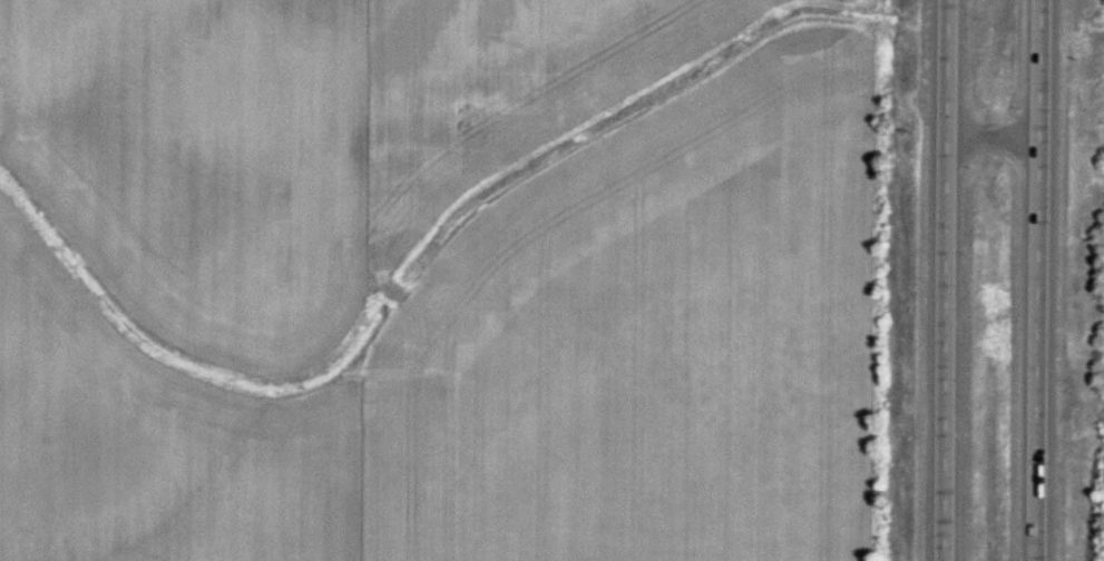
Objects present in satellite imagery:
road: (997, 138)
road: (946, 280)
road: (1042, 280)

